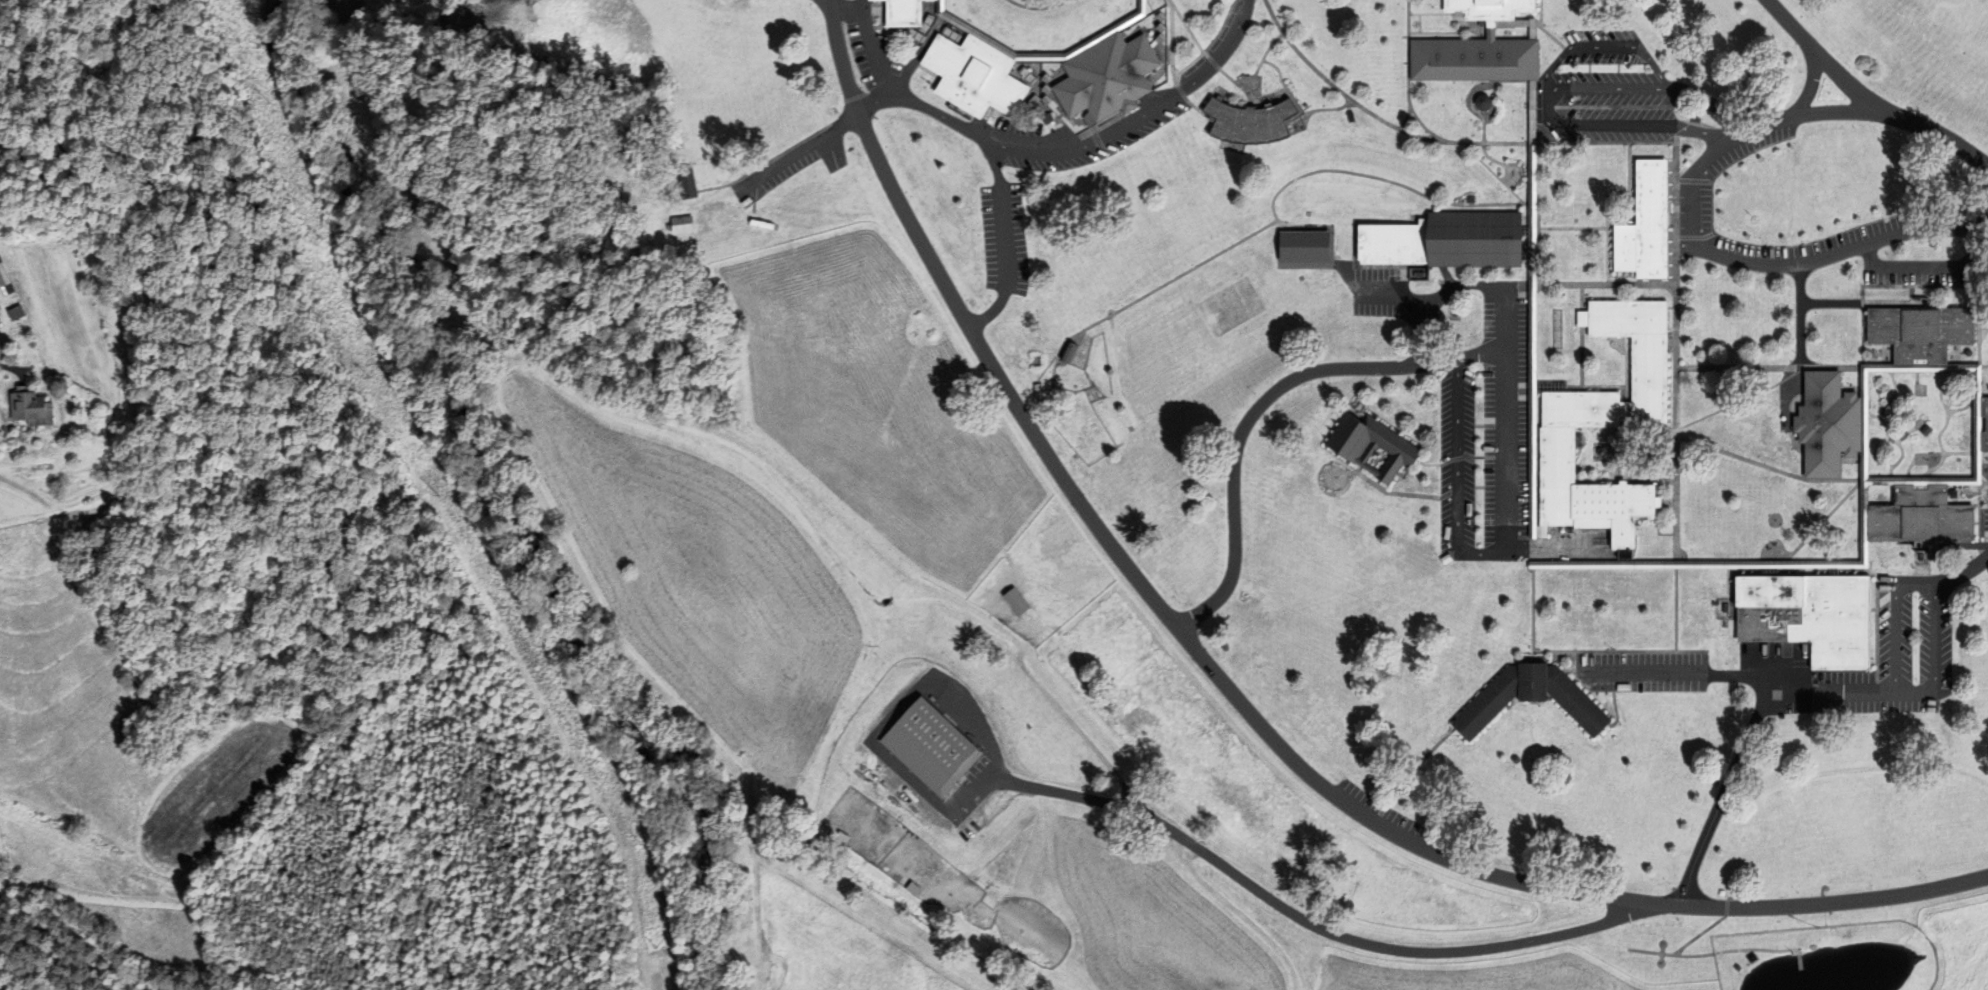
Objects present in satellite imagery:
road: (871, 37)
building: (1470, 45)
road: (1808, 83)
road: (1864, 100)
building: (1479, 102)
road: (1835, 110)
building: (1245, 121)
road: (1076, 147)
building: (681, 181)
building: (675, 223)
building: (1643, 224)
building: (1440, 241)
road: (1003, 242)
building: (1300, 245)
road: (1745, 264)
building: (6, 284)
building: (10, 315)
road: (1420, 332)
building: (1064, 352)
road: (1506, 352)
road: (1261, 403)
building: (23, 408)
building: (1596, 414)
building: (1900, 430)
building: (1368, 447)
road: (1456, 473)
river: (508, 504)
building: (1819, 566)
road: (1960, 575)
road: (1915, 585)
building: (1011, 601)
building: (1806, 616)
building: (1529, 698)
road: (1234, 699)
road: (1753, 724)
building: (927, 746)

